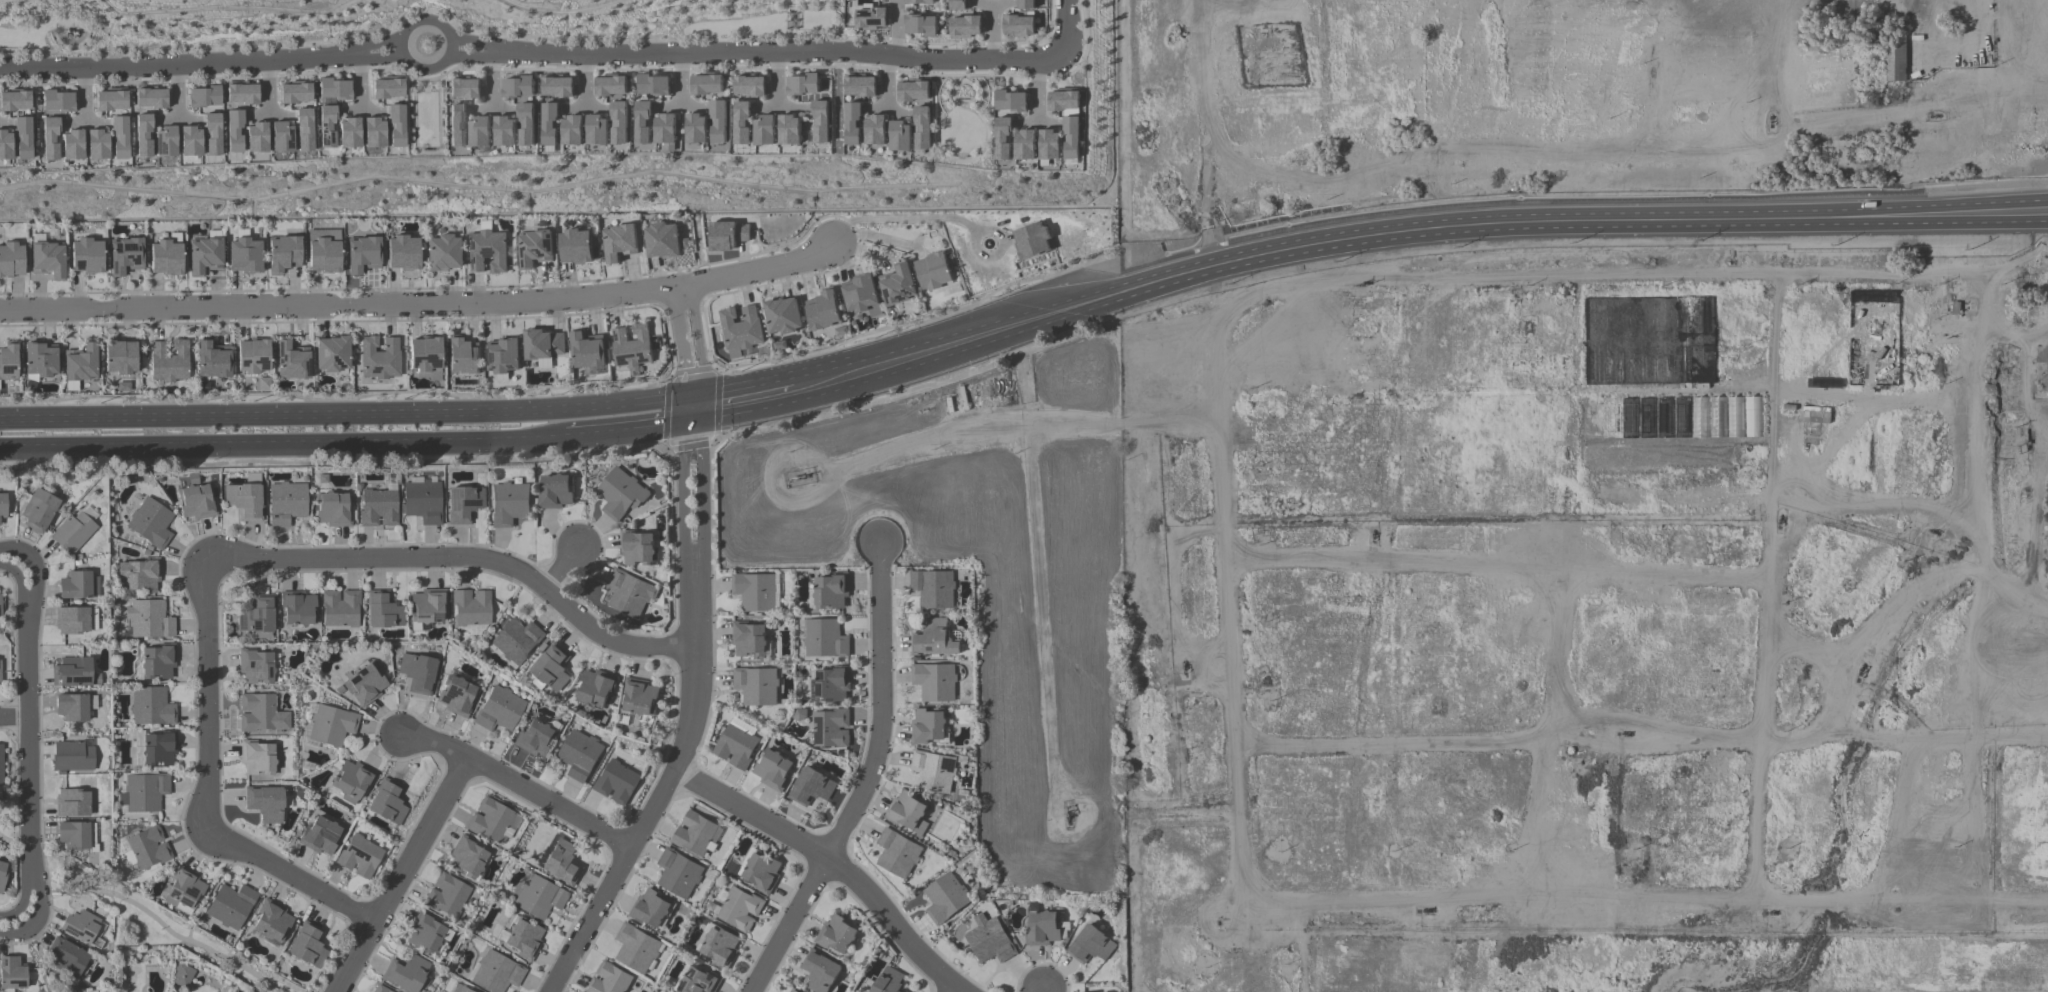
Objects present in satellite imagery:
building: (919, 2)
building: (956, 4)
building: (1025, 4)
building: (870, 18)
building: (920, 25)
building: (1018, 25)
building: (965, 26)
road: (1067, 29)
road: (897, 30)
road: (991, 34)
road: (381, 41)
road: (472, 44)
road: (71, 45)
road: (31, 50)
road: (471, 50)
road: (1084, 51)
road: (776, 52)
road: (381, 56)
building: (1895, 59)
road: (831, 66)
road: (183, 67)
road: (728, 67)
road: (776, 67)
road: (491, 68)
road: (537, 68)
road: (679, 68)
road: (360, 69)
road: (423, 69)
road: (584, 69)
road: (632, 69)
road: (886, 70)
road: (314, 72)
road: (961, 74)
road: (268, 75)
road: (222, 77)
road: (425, 78)
road: (1036, 78)
road: (492, 79)
road: (585, 79)
road: (779, 79)
road: (177, 80)
road: (131, 81)
road: (680, 81)
road: (38, 82)
road: (85, 82)
road: (886, 82)
road: (359, 83)
building: (653, 84)
building: (706, 84)
building: (802, 84)
building: (749, 85)
building: (557, 86)
building: (610, 86)
building: (860, 86)
building: (517, 87)
building: (333, 88)
building: (386, 88)
building: (463, 88)
building: (913, 90)
road: (270, 91)
road: (174, 92)
building: (241, 93)
building: (294, 93)
road: (1038, 93)
road: (84, 96)
building: (203, 96)
building: (150, 97)
building: (14, 100)
building: (110, 100)
building: (57, 101)
building: (1010, 101)
building: (1064, 102)
petroleum well: (1932, 114)
park: (425, 118)
petroleum well: (1770, 120)
building: (717, 121)
building: (820, 121)
building: (618, 122)
building: (642, 122)
building: (741, 122)
park: (963, 122)
building: (852, 123)
building: (526, 124)
building: (549, 124)
building: (395, 125)
building: (457, 125)
building: (326, 126)
building: (921, 127)
building: (695, 128)
building: (303, 129)
building: (789, 129)
building: (874, 129)
building: (234, 130)
building: (571, 130)
building: (597, 130)
building: (763, 130)
building: (504, 131)
building: (665, 131)
building: (348, 132)
building: (373, 132)
building: (479, 132)
building: (212, 133)
building: (143, 134)
building: (899, 136)
building: (22, 137)
building: (119, 137)
building: (256, 137)
building: (281, 137)
building: (1072, 137)
building: (49, 138)
building: (1003, 138)
building: (190, 140)
building: (165, 141)
building: (5, 144)
building: (71, 144)
building: (97, 144)
building: (1025, 144)
building: (1050, 144)
road: (903, 218)
road: (988, 232)
road: (1410, 234)
building: (727, 235)
building: (661, 240)
building: (1031, 240)
building: (618, 242)
building: (575, 246)
building: (533, 249)
building: (323, 251)
building: (486, 251)
building: (402, 252)
building: (441, 252)
building: (283, 253)
building: (362, 254)
building: (125, 255)
building: (244, 255)
building: (86, 256)
building: (166, 256)
building: (204, 256)
building: (48, 259)
building: (11, 260)
building: (933, 271)
building: (898, 285)
building: (861, 295)
road: (421, 307)
building: (823, 310)
building: (783, 315)
building: (740, 328)
building: (543, 346)
building: (631, 347)
road: (686, 348)
building: (587, 351)
building: (331, 354)
building: (252, 356)
building: (463, 356)
building: (503, 356)
building: (120, 357)
building: (379, 357)
building: (425, 357)
building: (39, 359)
building: (212, 360)
building: (8, 361)
building: (168, 361)
building: (291, 361)
building: (80, 363)
road: (741, 401)
traffic signals: (690, 409)
road: (346, 413)
building: (1815, 414)
building: (1734, 416)
building: (1699, 417)
road: (629, 429)
road: (282, 444)
petroleum well: (798, 475)
building: (555, 491)
building: (620, 493)
building: (246, 498)
building: (424, 501)
building: (197, 502)
building: (287, 503)
building: (464, 503)
building: (510, 504)
building: (3, 505)
building: (379, 508)
building: (333, 509)
building: (40, 510)
building: (151, 523)
petroleum well: (1931, 529)
building: (73, 533)
building: (637, 547)
road: (16, 549)
road: (465, 561)
road: (563, 564)
road: (8, 571)
building: (140, 574)
road: (38, 580)
building: (78, 585)
building: (933, 588)
road: (22, 590)
building: (755, 591)
building: (831, 591)
building: (630, 593)
building: (0, 605)
building: (298, 607)
building: (427, 607)
building: (471, 607)
building: (341, 608)
building: (383, 610)
building: (258, 616)
building: (76, 619)
building: (149, 619)
building: (748, 638)
building: (825, 638)
building: (933, 639)
building: (517, 640)
building: (158, 662)
petroleum well: (1183, 664)
building: (256, 666)
building: (551, 669)
petroleum well: (1856, 669)
building: (0, 671)
building: (74, 672)
building: (419, 672)
building: (934, 681)
building: (365, 684)
building: (831, 685)
building: (756, 686)
building: (597, 687)
building: (456, 696)
building: (640, 696)
building: (72, 706)
building: (152, 706)
building: (499, 709)
building: (261, 714)
road: (692, 718)
road: (14, 720)
building: (332, 725)
building: (927, 726)
building: (831, 728)
petroleum well: (1623, 732)
building: (536, 738)
road: (29, 743)
building: (735, 746)
building: (160, 748)
building: (580, 755)
building: (73, 756)
building: (257, 757)
building: (1, 765)
building: (772, 770)
building: (933, 771)
road: (862, 780)
building: (353, 781)
building: (616, 782)
road: (518, 787)
building: (811, 787)
building: (145, 792)
road: (207, 795)
building: (72, 802)
building: (388, 802)
building: (267, 803)
building: (907, 812)
petroleum well: (1067, 814)
road: (750, 815)
building: (490, 820)
building: (695, 834)
building: (76, 836)
building: (321, 836)
building: (147, 849)
building: (897, 853)
building: (360, 856)
building: (467, 856)
building: (563, 862)
building: (762, 872)
building: (678, 873)
building: (2, 875)
road: (402, 875)
building: (184, 890)
road: (208, 895)
building: (447, 896)
building: (539, 897)
building: (945, 898)
road: (21, 904)
building: (231, 906)
road: (141, 908)
building: (651, 908)
petroleum well: (1423, 908)
building: (740, 909)
petroleum well: (1768, 913)
building: (272, 920)
road: (39, 921)
road: (891, 924)
building: (83, 927)
building: (1046, 928)
building: (425, 933)
building: (836, 934)
building: (524, 939)
building: (990, 940)
building: (308, 945)
building: (1090, 945)
building: (721, 946)
building: (636, 948)
building: (69, 958)
building: (820, 971)
building: (12, 973)
building: (406, 973)
building: (497, 973)
building: (183, 975)
building: (610, 979)
building: (700, 981)
building: (889, 981)
building: (380, 989)
building: (465, 990)
building: (250, 991)
building: (793, 991)
road: (1043, 991)

